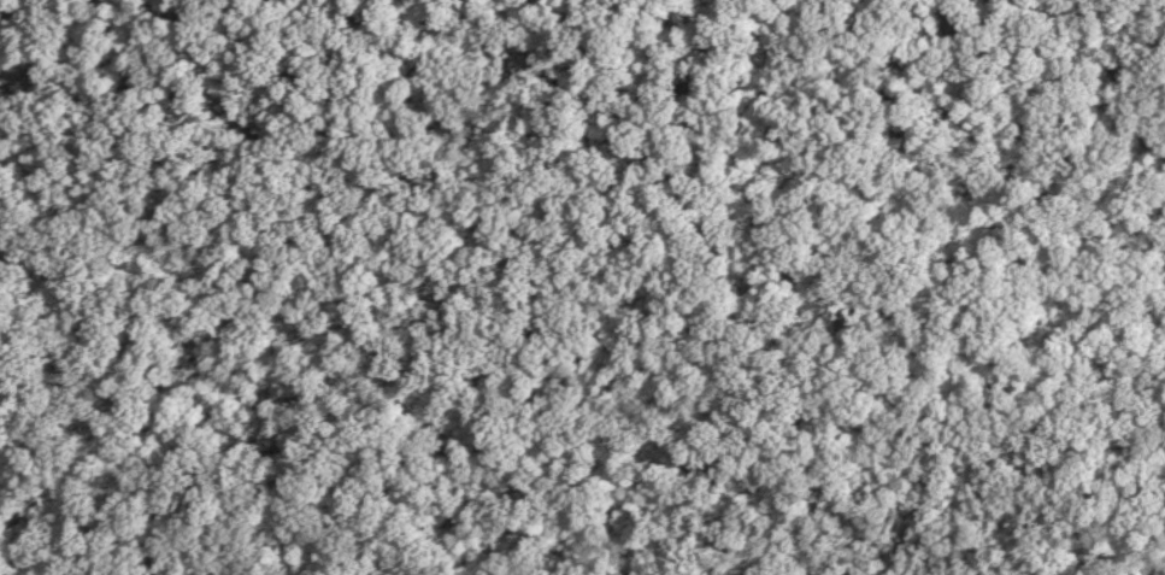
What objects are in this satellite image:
road: (111, 71)
park: (582, 287)

